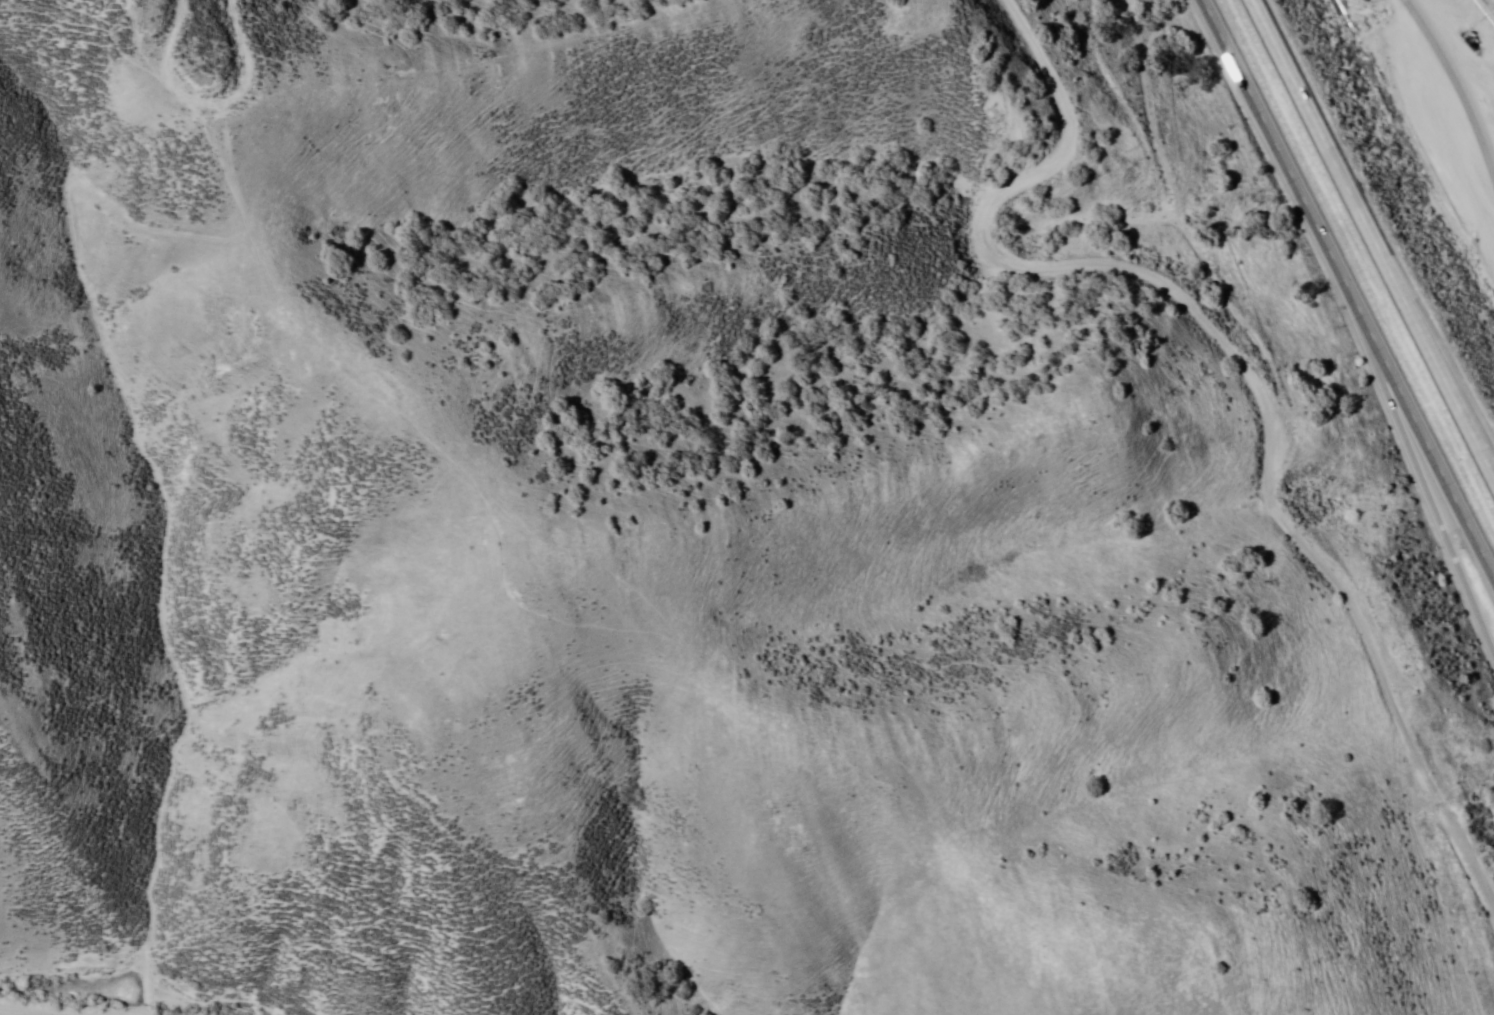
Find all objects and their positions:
road: (1456, 87)
road: (216, 108)
road: (1373, 242)
road: (1343, 288)
road: (1244, 374)
road: (1468, 419)
road: (1433, 504)
road: (30, 1008)

